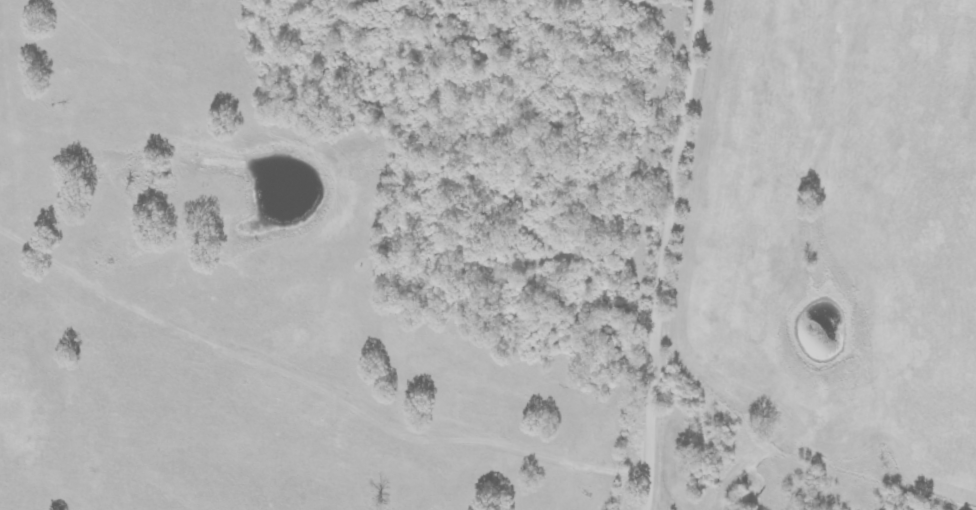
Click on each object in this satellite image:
road: (344, 129)
road: (670, 253)

